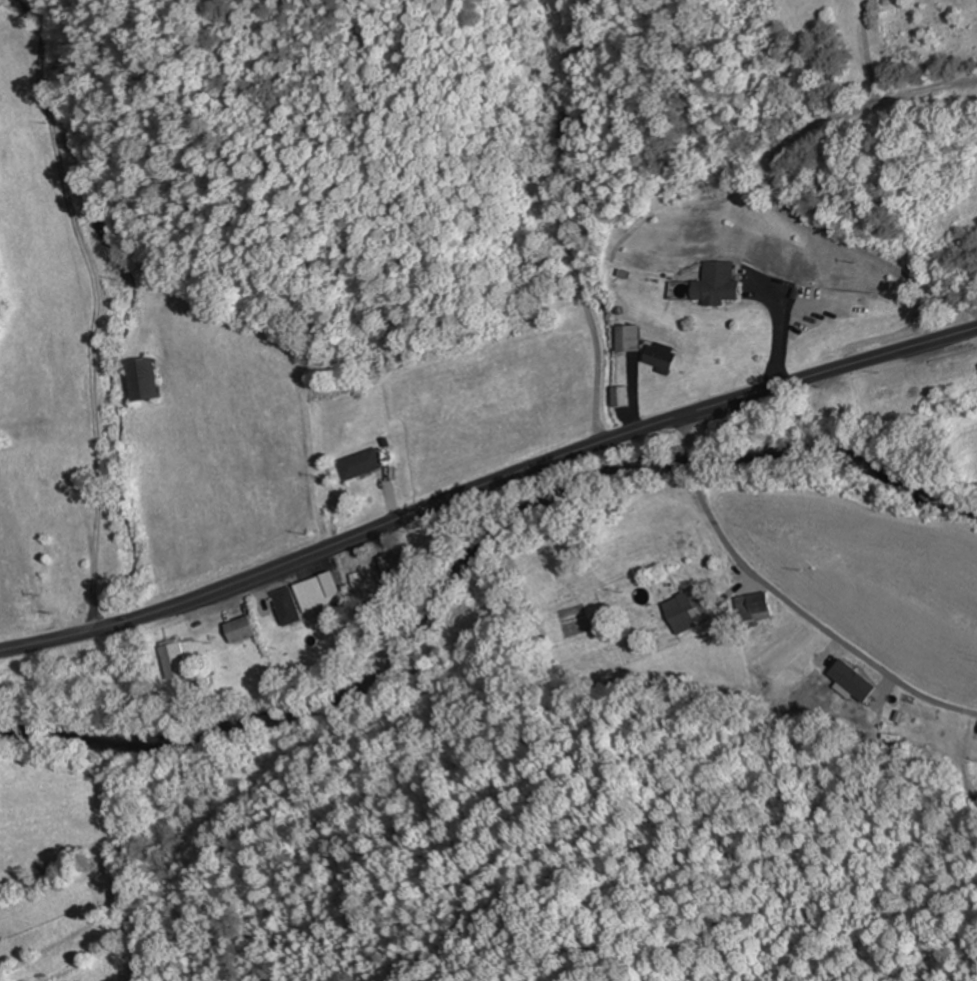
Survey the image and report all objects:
building: (568, 125)
road: (872, 170)
road: (557, 223)
building: (542, 262)
building: (715, 284)
building: (629, 340)
building: (661, 357)
building: (142, 379)
building: (620, 396)
road: (687, 431)
road: (692, 460)
building: (358, 464)
road: (486, 485)
building: (384, 570)
building: (307, 597)
building: (753, 607)
building: (686, 611)
road: (812, 618)
building: (240, 629)
building: (174, 659)
building: (854, 681)

